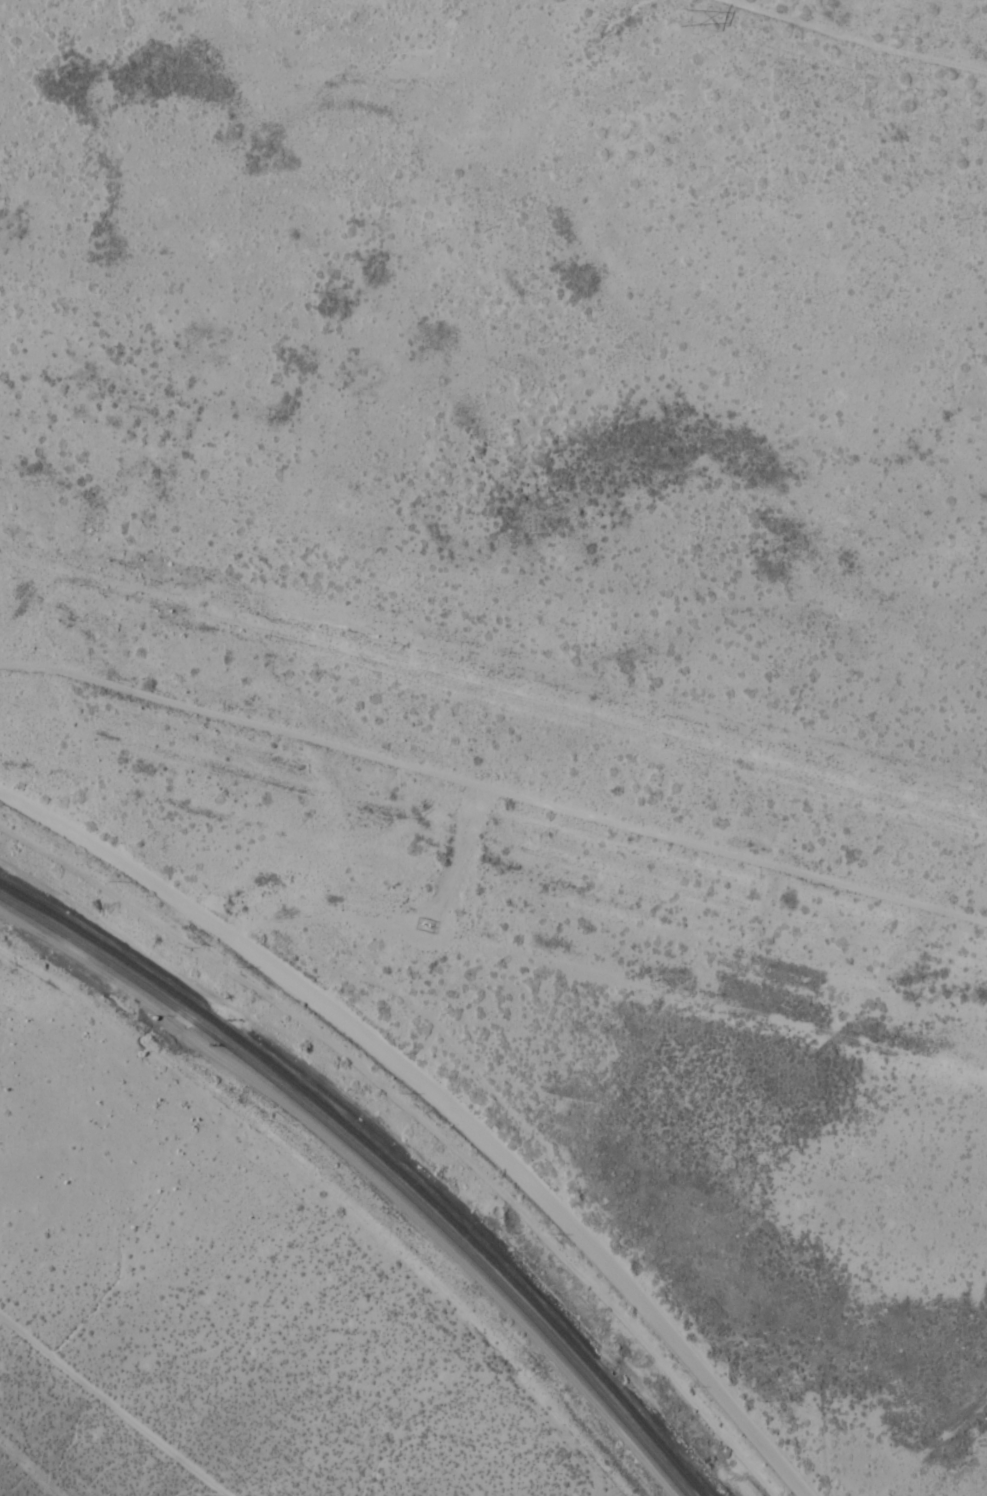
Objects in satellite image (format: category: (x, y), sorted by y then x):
power tower: (678, 17)
road: (888, 26)
road: (493, 782)
road: (441, 1098)
railway: (380, 1154)
railway: (371, 1162)
road: (98, 1412)

